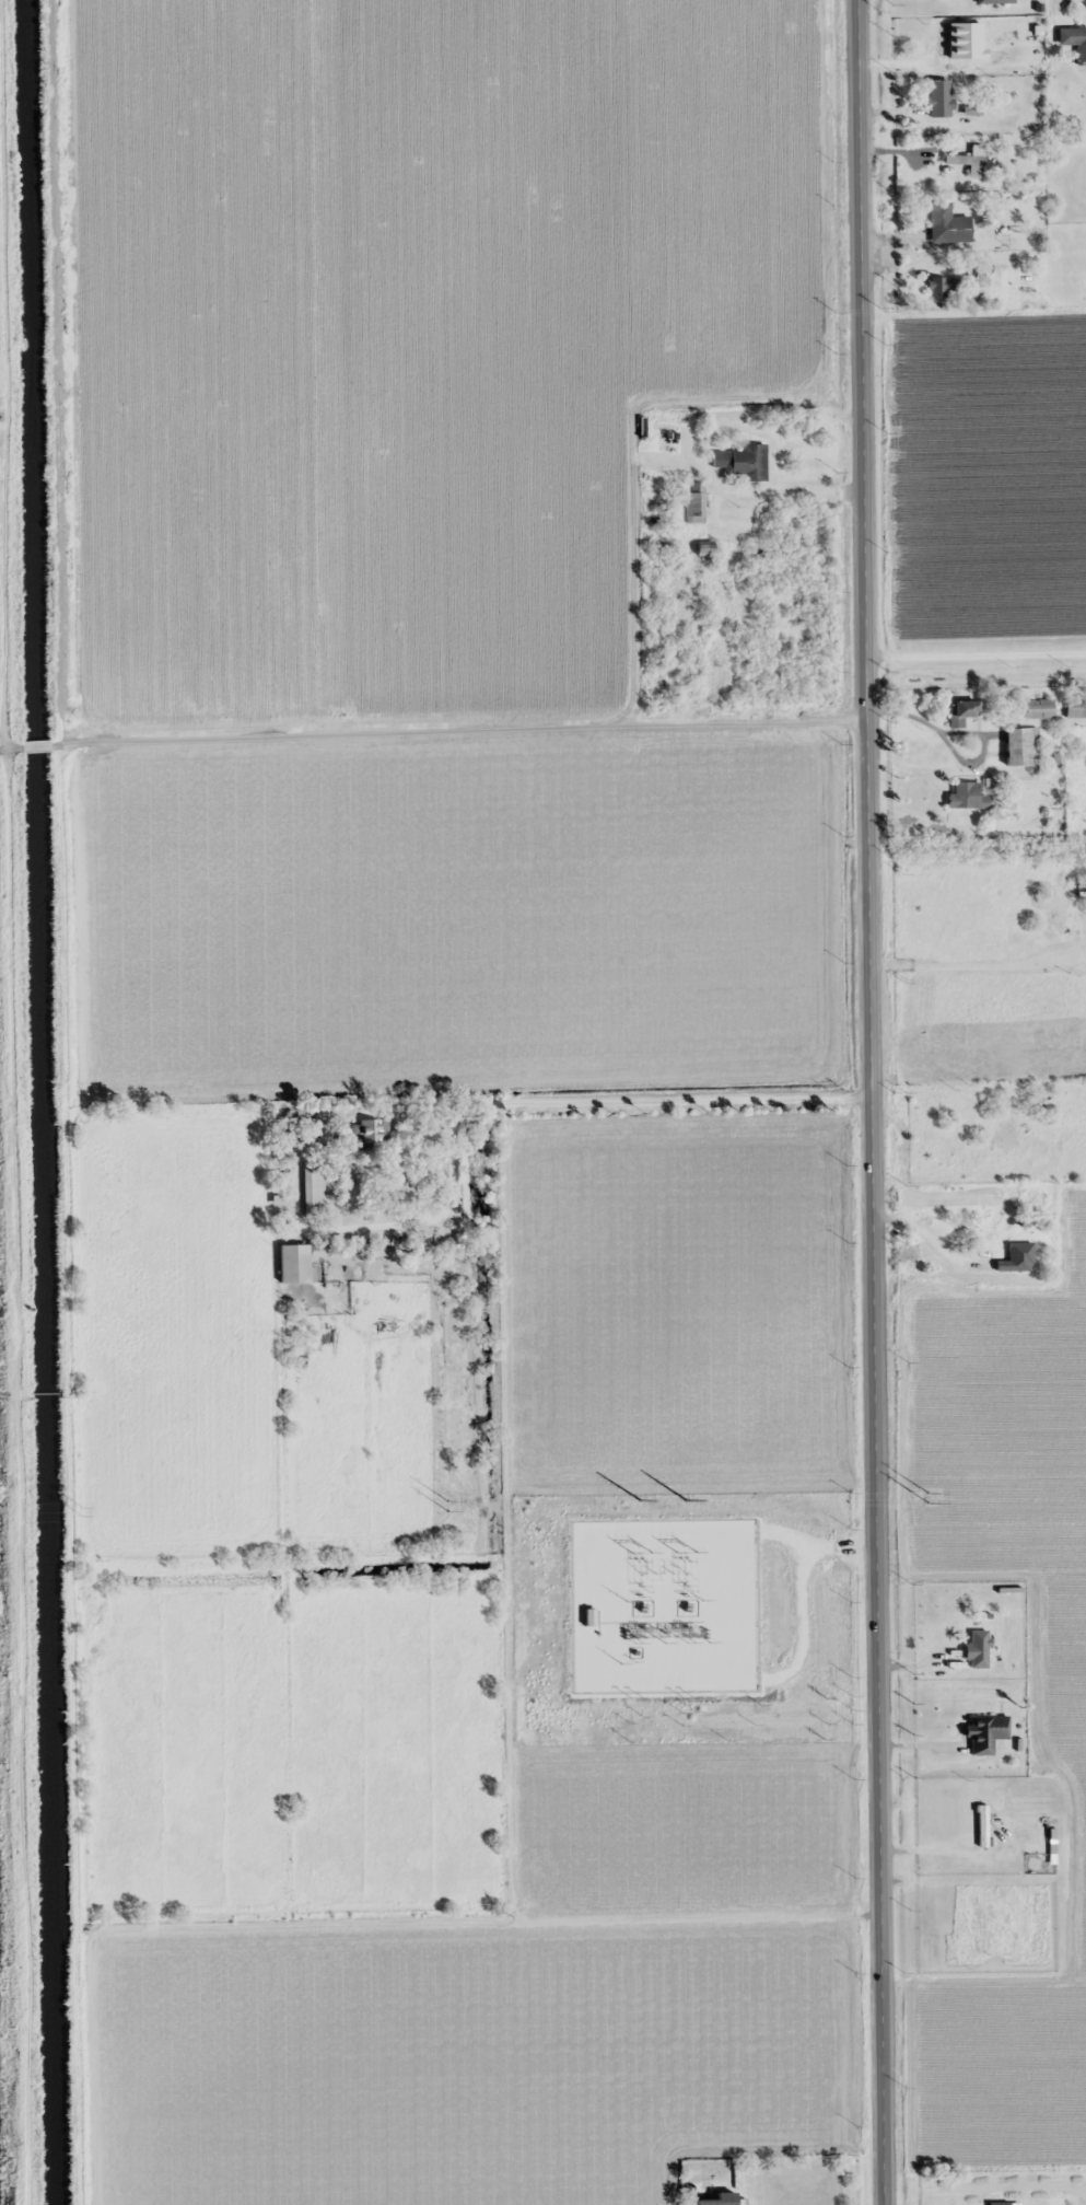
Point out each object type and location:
building: (995, 1)
building: (939, 46)
building: (1081, 47)
building: (938, 98)
building: (968, 164)
building: (947, 224)
building: (941, 286)
road: (861, 360)
building: (746, 463)
building: (694, 504)
building: (704, 556)
road: (976, 640)
building: (1075, 708)
building: (1039, 709)
building: (962, 712)
road: (436, 727)
building: (1021, 747)
road: (4, 748)
building: (967, 798)
building: (1029, 801)
road: (619, 1094)
road: (12, 1102)
building: (371, 1134)
building: (314, 1189)
building: (1016, 1258)
building: (295, 1265)
road: (874, 1463)
power tower: (840, 1500)
power tower: (465, 1506)
power tower: (80, 1511)
building: (978, 1649)
building: (986, 1733)
building: (982, 1826)
building: (721, 2200)
building: (999, 2203)

